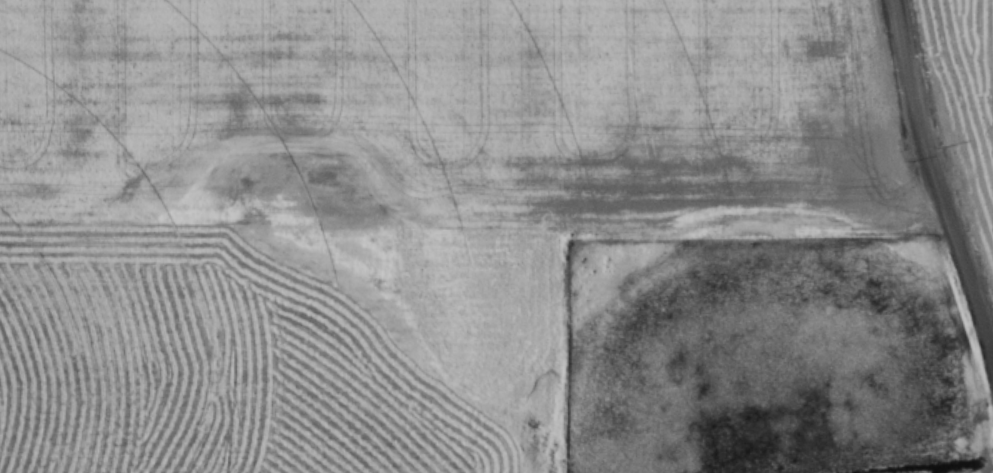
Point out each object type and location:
road: (943, 198)

